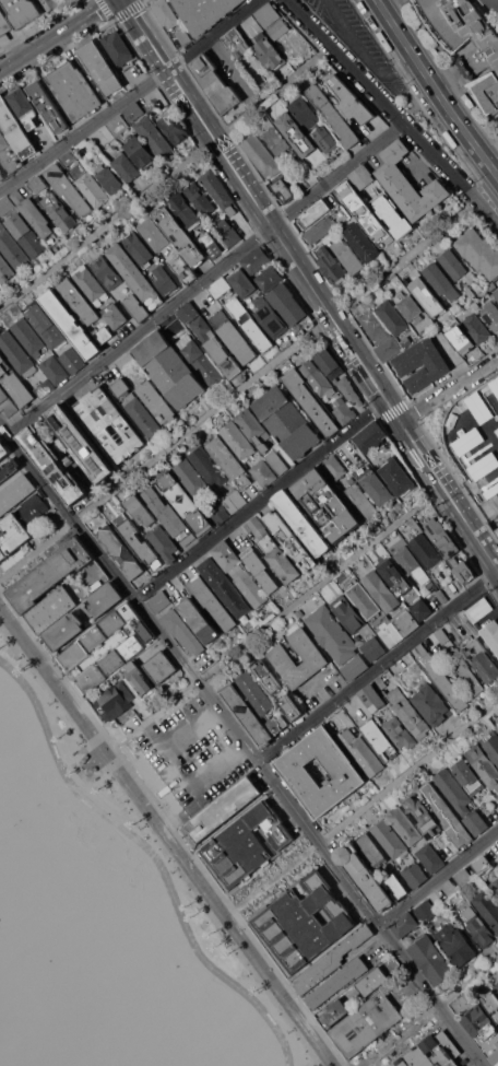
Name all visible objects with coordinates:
building: (49, 4)
building: (23, 11)
building: (204, 12)
building: (269, 14)
building: (171, 19)
building: (4, 23)
building: (278, 28)
road: (55, 34)
road: (145, 35)
building: (237, 42)
building: (118, 47)
building: (270, 51)
road: (365, 51)
building: (478, 58)
building: (100, 67)
building: (215, 84)
road: (436, 87)
building: (74, 91)
road: (130, 97)
building: (351, 99)
building: (48, 106)
building: (24, 107)
building: (134, 110)
building: (235, 110)
building: (305, 113)
road: (392, 113)
building: (334, 115)
building: (118, 125)
building: (174, 128)
building: (293, 128)
building: (15, 129)
building: (154, 137)
building: (274, 137)
building: (325, 139)
building: (3, 141)
building: (140, 152)
building: (261, 155)
building: (70, 157)
building: (11, 159)
building: (126, 166)
building: (1, 175)
building: (363, 176)
building: (110, 178)
road: (166, 178)
building: (410, 184)
building: (38, 185)
building: (90, 185)
building: (68, 188)
building: (284, 189)
building: (217, 190)
building: (200, 199)
building: (185, 211)
building: (59, 212)
building: (33, 213)
building: (315, 213)
building: (366, 213)
building: (394, 216)
building: (344, 219)
building: (224, 227)
building: (22, 230)
building: (321, 230)
building: (154, 234)
building: (179, 235)
building: (232, 237)
building: (363, 242)
building: (209, 243)
building: (12, 248)
building: (139, 248)
building: (479, 251)
building: (348, 255)
building: (256, 259)
building: (453, 265)
building: (333, 267)
building: (183, 269)
building: (5, 270)
building: (106, 272)
building: (135, 276)
road: (204, 279)
building: (165, 280)
building: (442, 281)
building: (242, 283)
building: (90, 284)
building: (493, 285)
building: (221, 288)
building: (470, 293)
building: (281, 294)
building: (496, 295)
building: (79, 302)
building: (137, 307)
building: (411, 308)
building: (189, 312)
building: (490, 312)
building: (115, 316)
building: (270, 317)
building: (393, 317)
road: (334, 319)
building: (71, 324)
building: (250, 324)
building: (47, 327)
building: (477, 328)
building: (28, 336)
building: (381, 336)
building: (233, 337)
building: (407, 342)
building: (216, 347)
building: (16, 354)
building: (72, 360)
building: (202, 362)
building: (127, 363)
building: (422, 363)
building: (55, 370)
building: (169, 370)
building: (337, 375)
building: (319, 378)
building: (14, 383)
building: (44, 386)
building: (121, 387)
road: (448, 389)
road: (238, 390)
building: (156, 401)
building: (311, 401)
building: (7, 403)
building: (344, 411)
building: (142, 415)
building: (287, 421)
building: (110, 424)
building: (253, 427)
building: (371, 436)
building: (237, 440)
building: (3, 448)
building: (67, 454)
building: (228, 460)
building: (276, 460)
building: (207, 466)
building: (335, 467)
building: (8, 468)
building: (264, 472)
building: (398, 476)
building: (375, 483)
building: (201, 490)
building: (15, 492)
building: (363, 499)
building: (235, 501)
road: (261, 501)
building: (183, 502)
building: (327, 504)
building: (34, 511)
building: (139, 511)
building: (169, 516)
building: (303, 522)
building: (256, 526)
building: (497, 530)
building: (13, 536)
building: (441, 538)
building: (296, 539)
building: (139, 542)
building: (164, 542)
building: (427, 550)
building: (119, 551)
building: (226, 555)
building: (280, 559)
building: (412, 564)
building: (261, 571)
building: (465, 571)
building: (0, 572)
building: (50, 576)
building: (395, 576)
building: (224, 586)
building: (251, 588)
building: (382, 590)
building: (443, 596)
building: (104, 599)
building: (364, 600)
building: (159, 601)
building: (212, 601)
building: (422, 609)
building: (479, 609)
building: (50, 610)
building: (348, 613)
road: (277, 617)
building: (199, 620)
building: (137, 621)
building: (112, 622)
building: (399, 626)
building: (63, 631)
building: (183, 631)
building: (491, 633)
building: (332, 634)
building: (442, 635)
building: (94, 637)
building: (131, 646)
building: (375, 648)
building: (73, 656)
building: (282, 657)
building: (483, 659)
building: (111, 661)
road: (378, 666)
building: (161, 667)
building: (355, 667)
building: (465, 672)
building: (269, 676)
building: (90, 678)
building: (139, 678)
building: (441, 679)
building: (381, 682)
building: (256, 692)
building: (373, 698)
building: (115, 701)
building: (432, 704)
building: (292, 707)
building: (408, 712)
building: (247, 715)
building: (277, 724)
building: (497, 727)
building: (399, 731)
building: (379, 739)
road: (245, 742)
building: (491, 743)
building: (363, 752)
parking lot: (192, 755)
building: (84, 759)
building: (484, 764)
road: (174, 768)
building: (92, 770)
building: (345, 772)
building: (469, 777)
building: (461, 800)
building: (223, 809)
road: (361, 809)
park: (28, 811)
building: (447, 815)
building: (423, 817)
building: (404, 825)
park: (10, 834)
road: (169, 834)
building: (390, 839)
building: (247, 845)
building: (372, 851)
road: (154, 856)
building: (429, 858)
building: (483, 865)
building: (415, 875)
building: (364, 876)
road: (438, 877)
building: (463, 877)
building: (395, 887)
building: (495, 888)
building: (487, 907)
building: (426, 911)
building: (301, 924)
building: (405, 924)
building: (477, 925)
building: (455, 944)
building: (431, 959)
building: (331, 961)
building: (337, 982)
building: (496, 986)
building: (353, 996)
building: (490, 1003)
road: (429, 1014)
building: (366, 1023)
building: (479, 1023)
building: (430, 1053)
building: (494, 1057)

